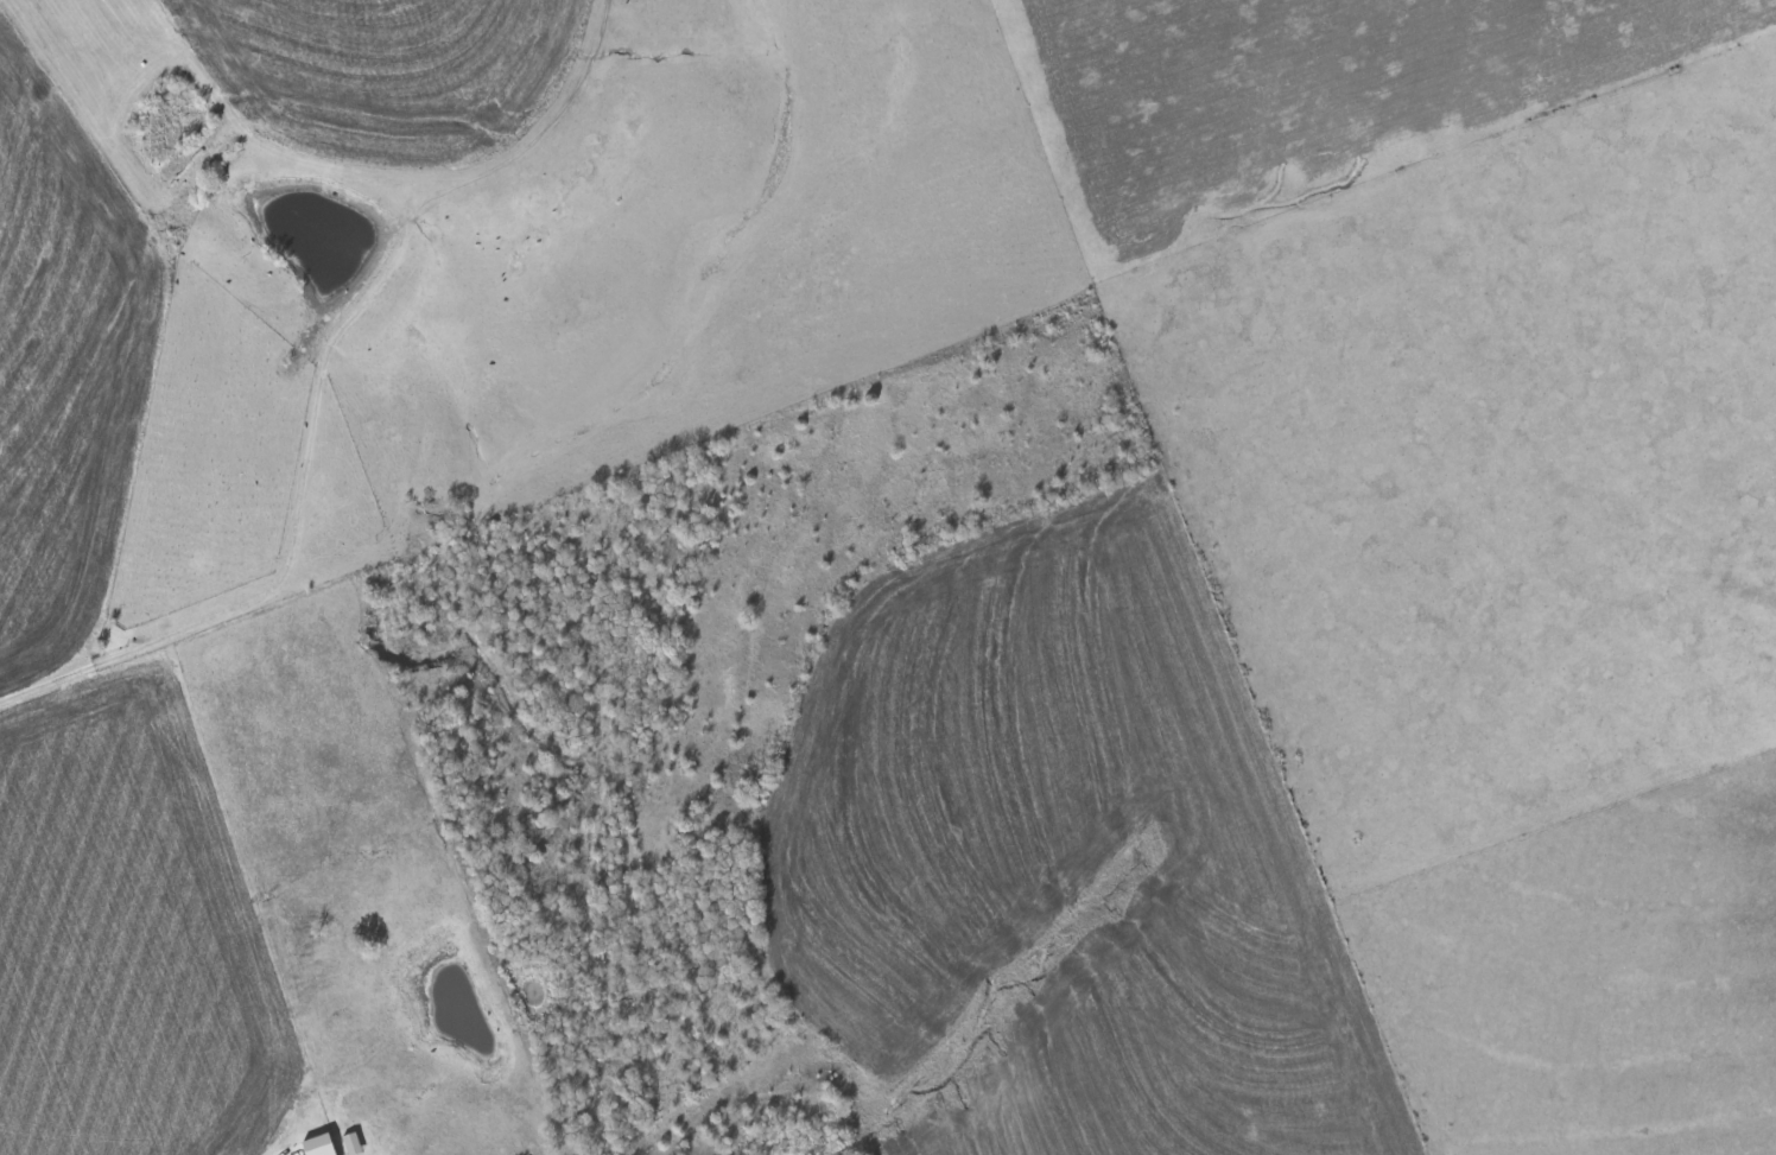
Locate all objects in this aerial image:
building: (351, 1142)
building: (318, 1146)

